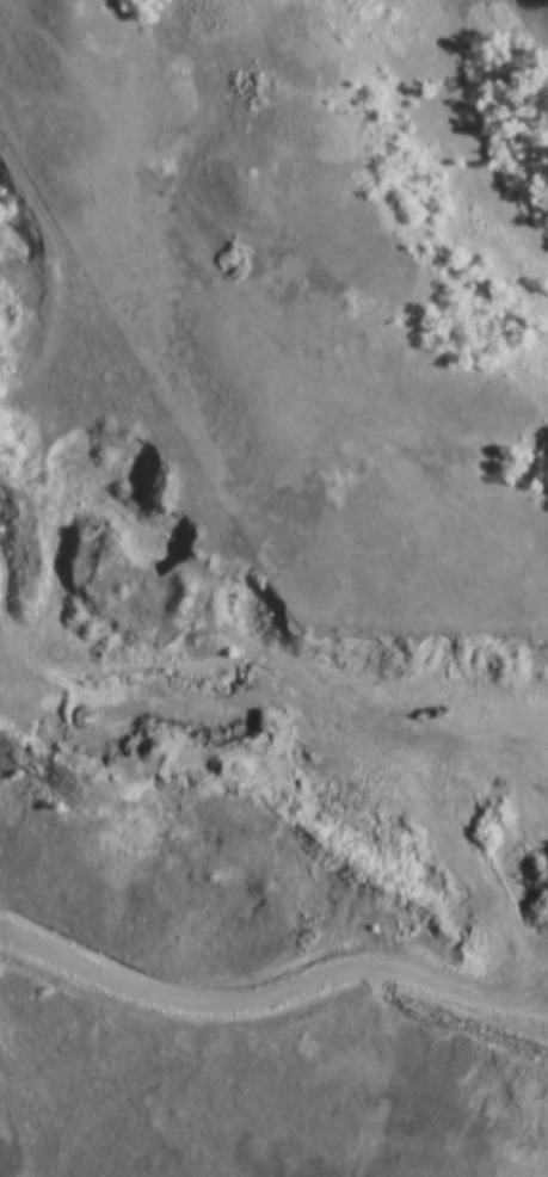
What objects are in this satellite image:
road: (57, 329)
road: (320, 697)
quarry: (293, 722)
road: (118, 751)

